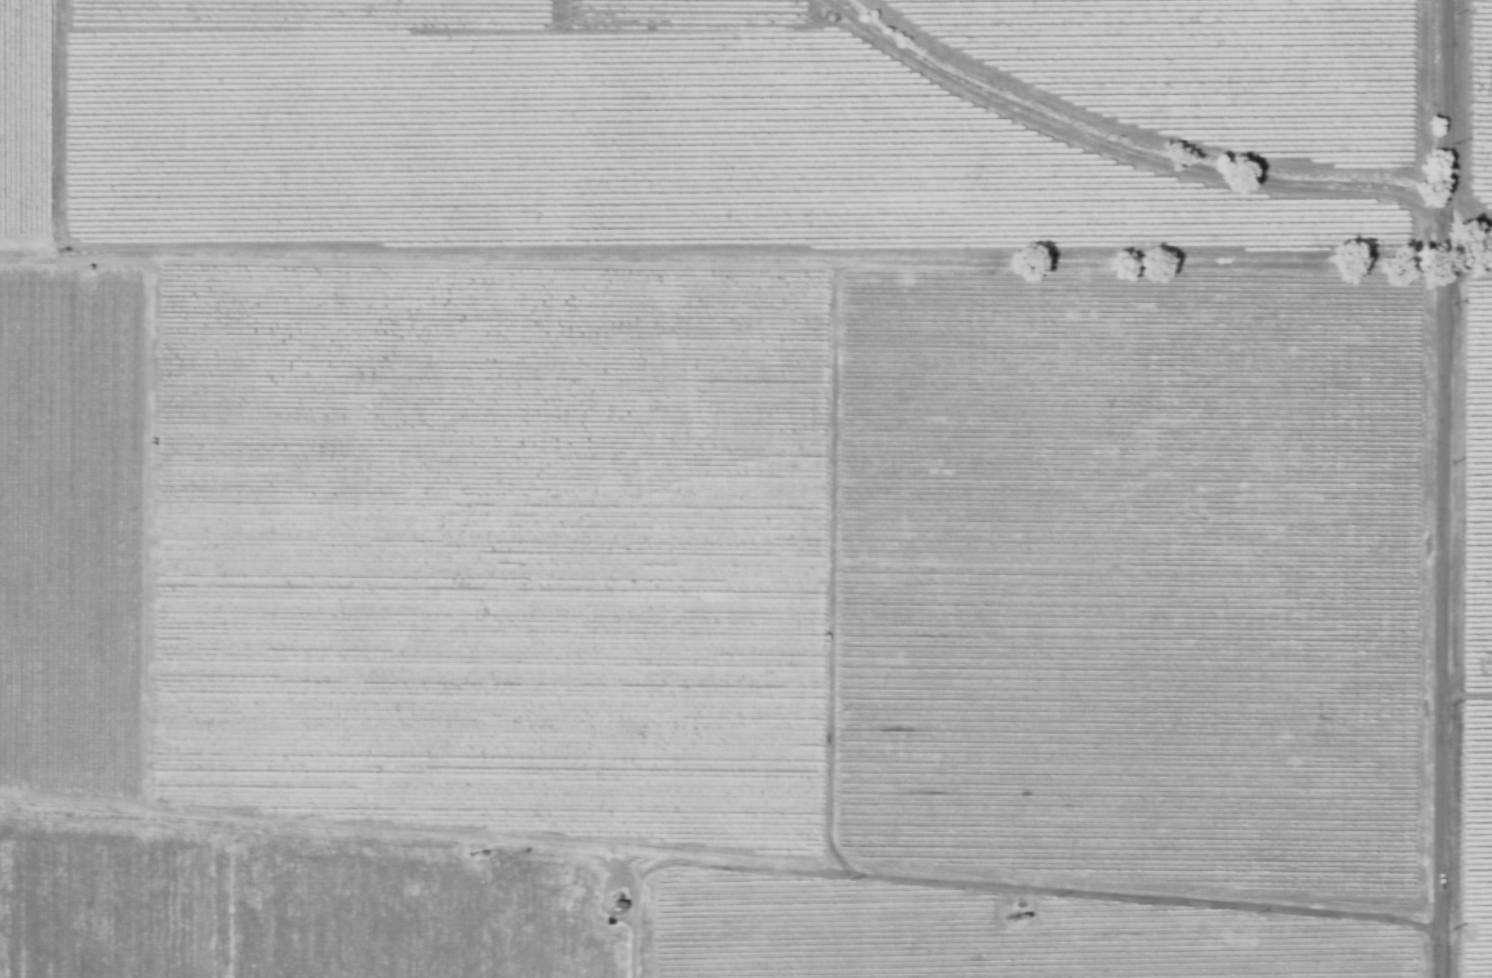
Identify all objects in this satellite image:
road: (1431, 488)
building: (617, 904)
building: (1021, 916)

